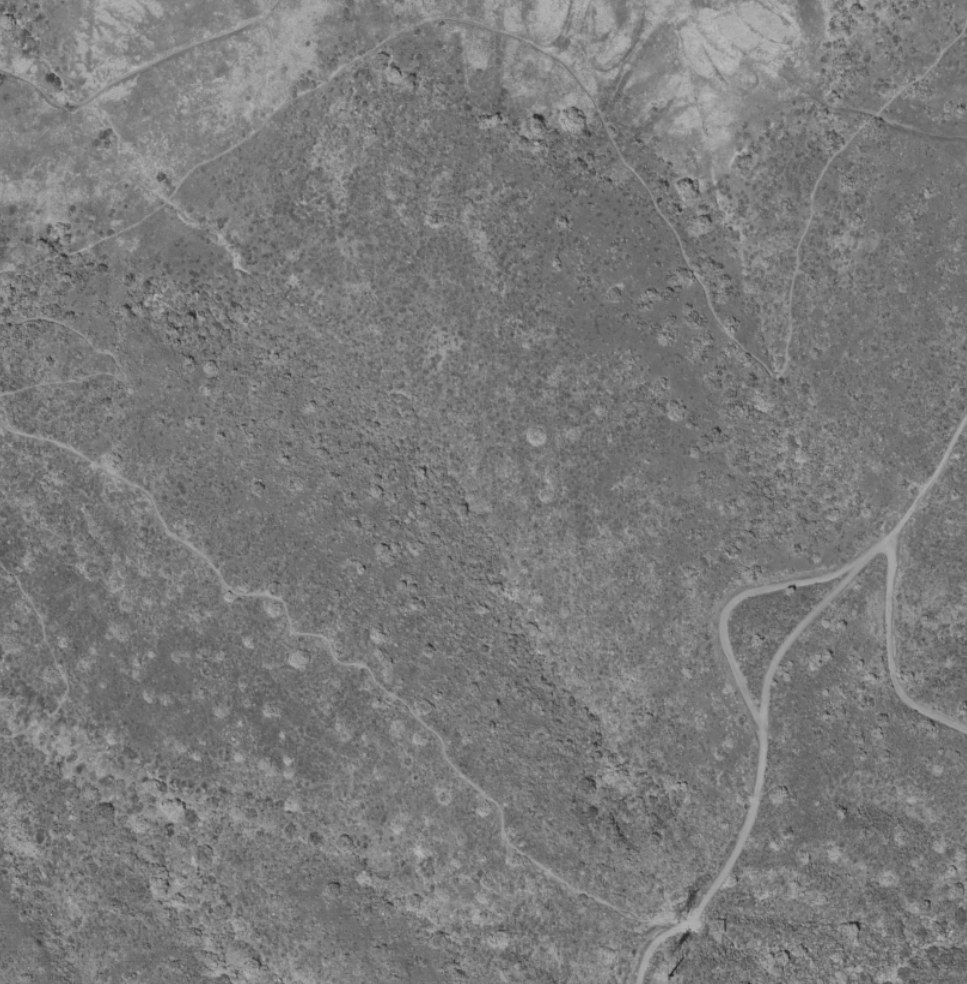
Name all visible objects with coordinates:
road: (271, 14)
road: (585, 93)
road: (143, 216)
road: (110, 360)
road: (926, 479)
road: (797, 626)
road: (889, 658)
road: (53, 659)
road: (355, 665)
road: (756, 723)
power tower: (682, 918)
power tower: (677, 959)

